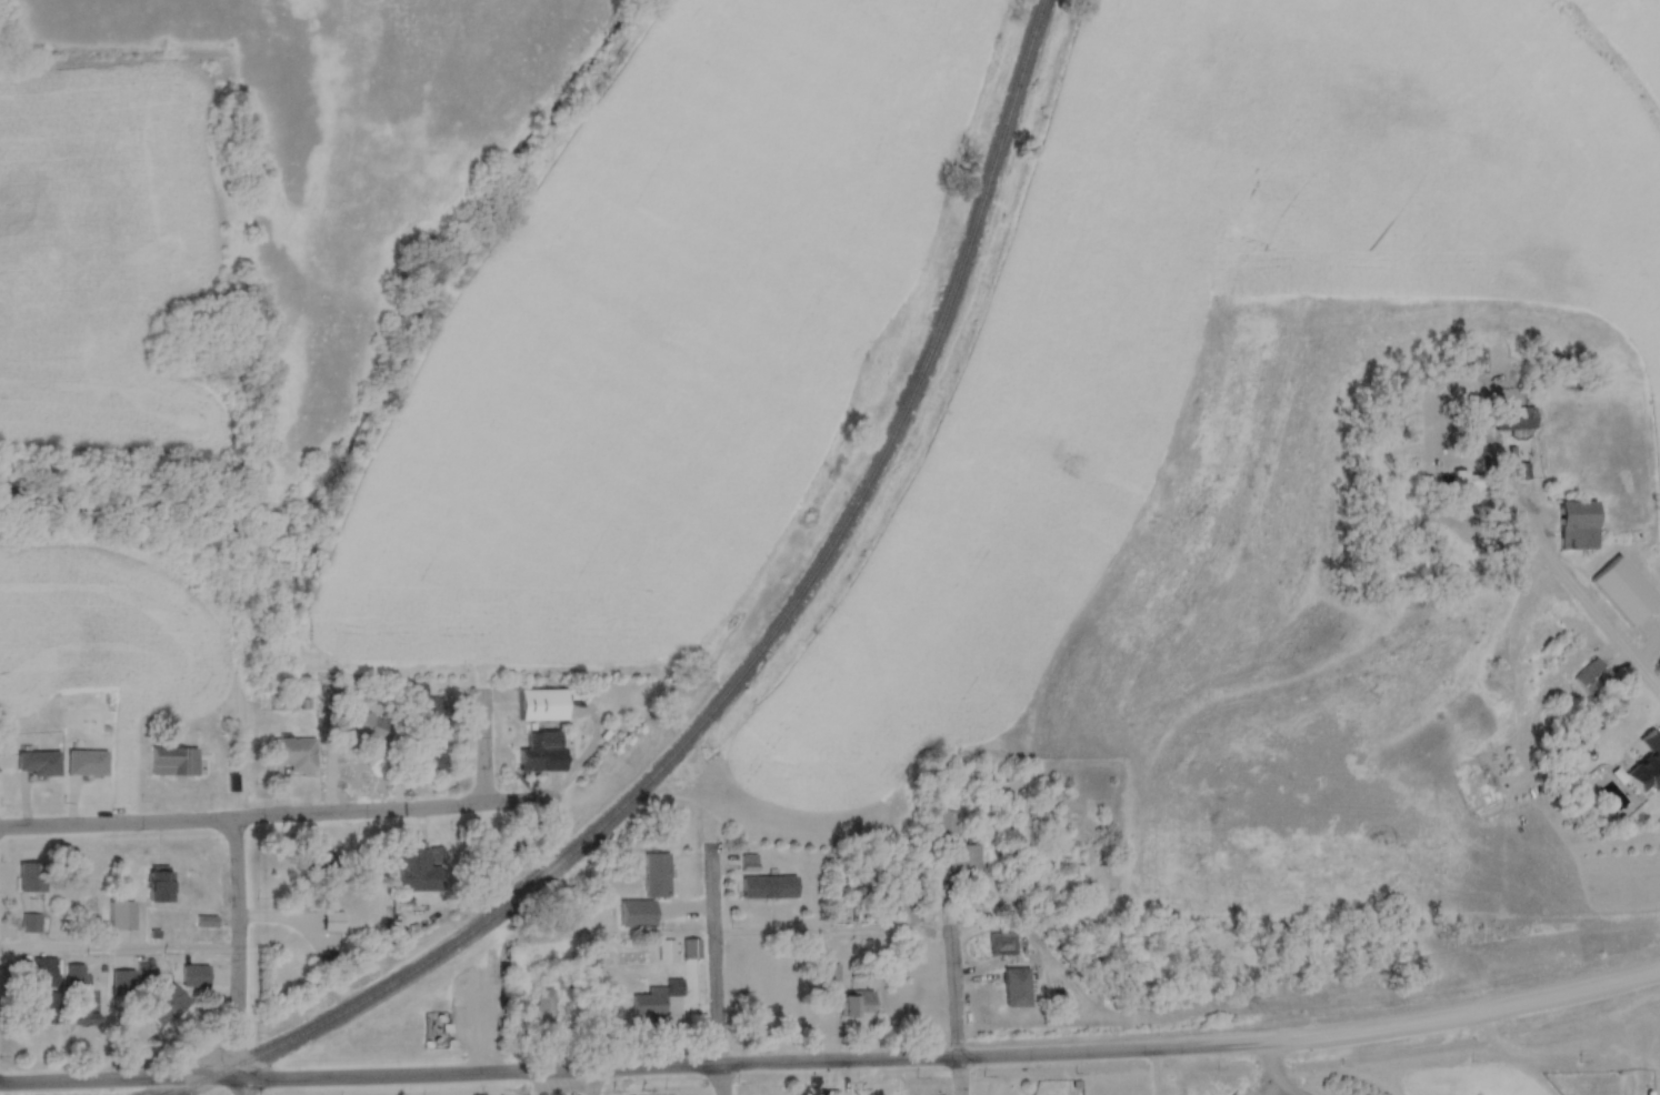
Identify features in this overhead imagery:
building: (1514, 420)
building: (1522, 472)
building: (1468, 483)
building: (1579, 525)
building: (1622, 591)
road: (1573, 599)
railway: (750, 663)
building: (1592, 676)
building: (543, 705)
building: (366, 727)
building: (428, 732)
building: (540, 750)
road: (479, 751)
building: (296, 754)
building: (174, 761)
building: (39, 763)
building: (88, 763)
building: (1648, 764)
road: (259, 817)
building: (947, 823)
building: (966, 861)
building: (326, 864)
building: (657, 875)
building: (31, 878)
building: (161, 887)
building: (769, 887)
building: (637, 915)
building: (121, 916)
building: (206, 922)
building: (30, 923)
building: (331, 923)
building: (387, 930)
road: (831, 938)
building: (1002, 944)
building: (690, 950)
road: (232, 956)
road: (116, 957)
building: (142, 973)
road: (714, 973)
building: (194, 977)
building: (828, 980)
building: (123, 983)
building: (1018, 988)
building: (46, 992)
building: (82, 997)
building: (656, 998)
building: (173, 1002)
building: (858, 1005)
building: (542, 1008)
road: (948, 1022)
road: (1458, 1022)
road: (627, 1068)

